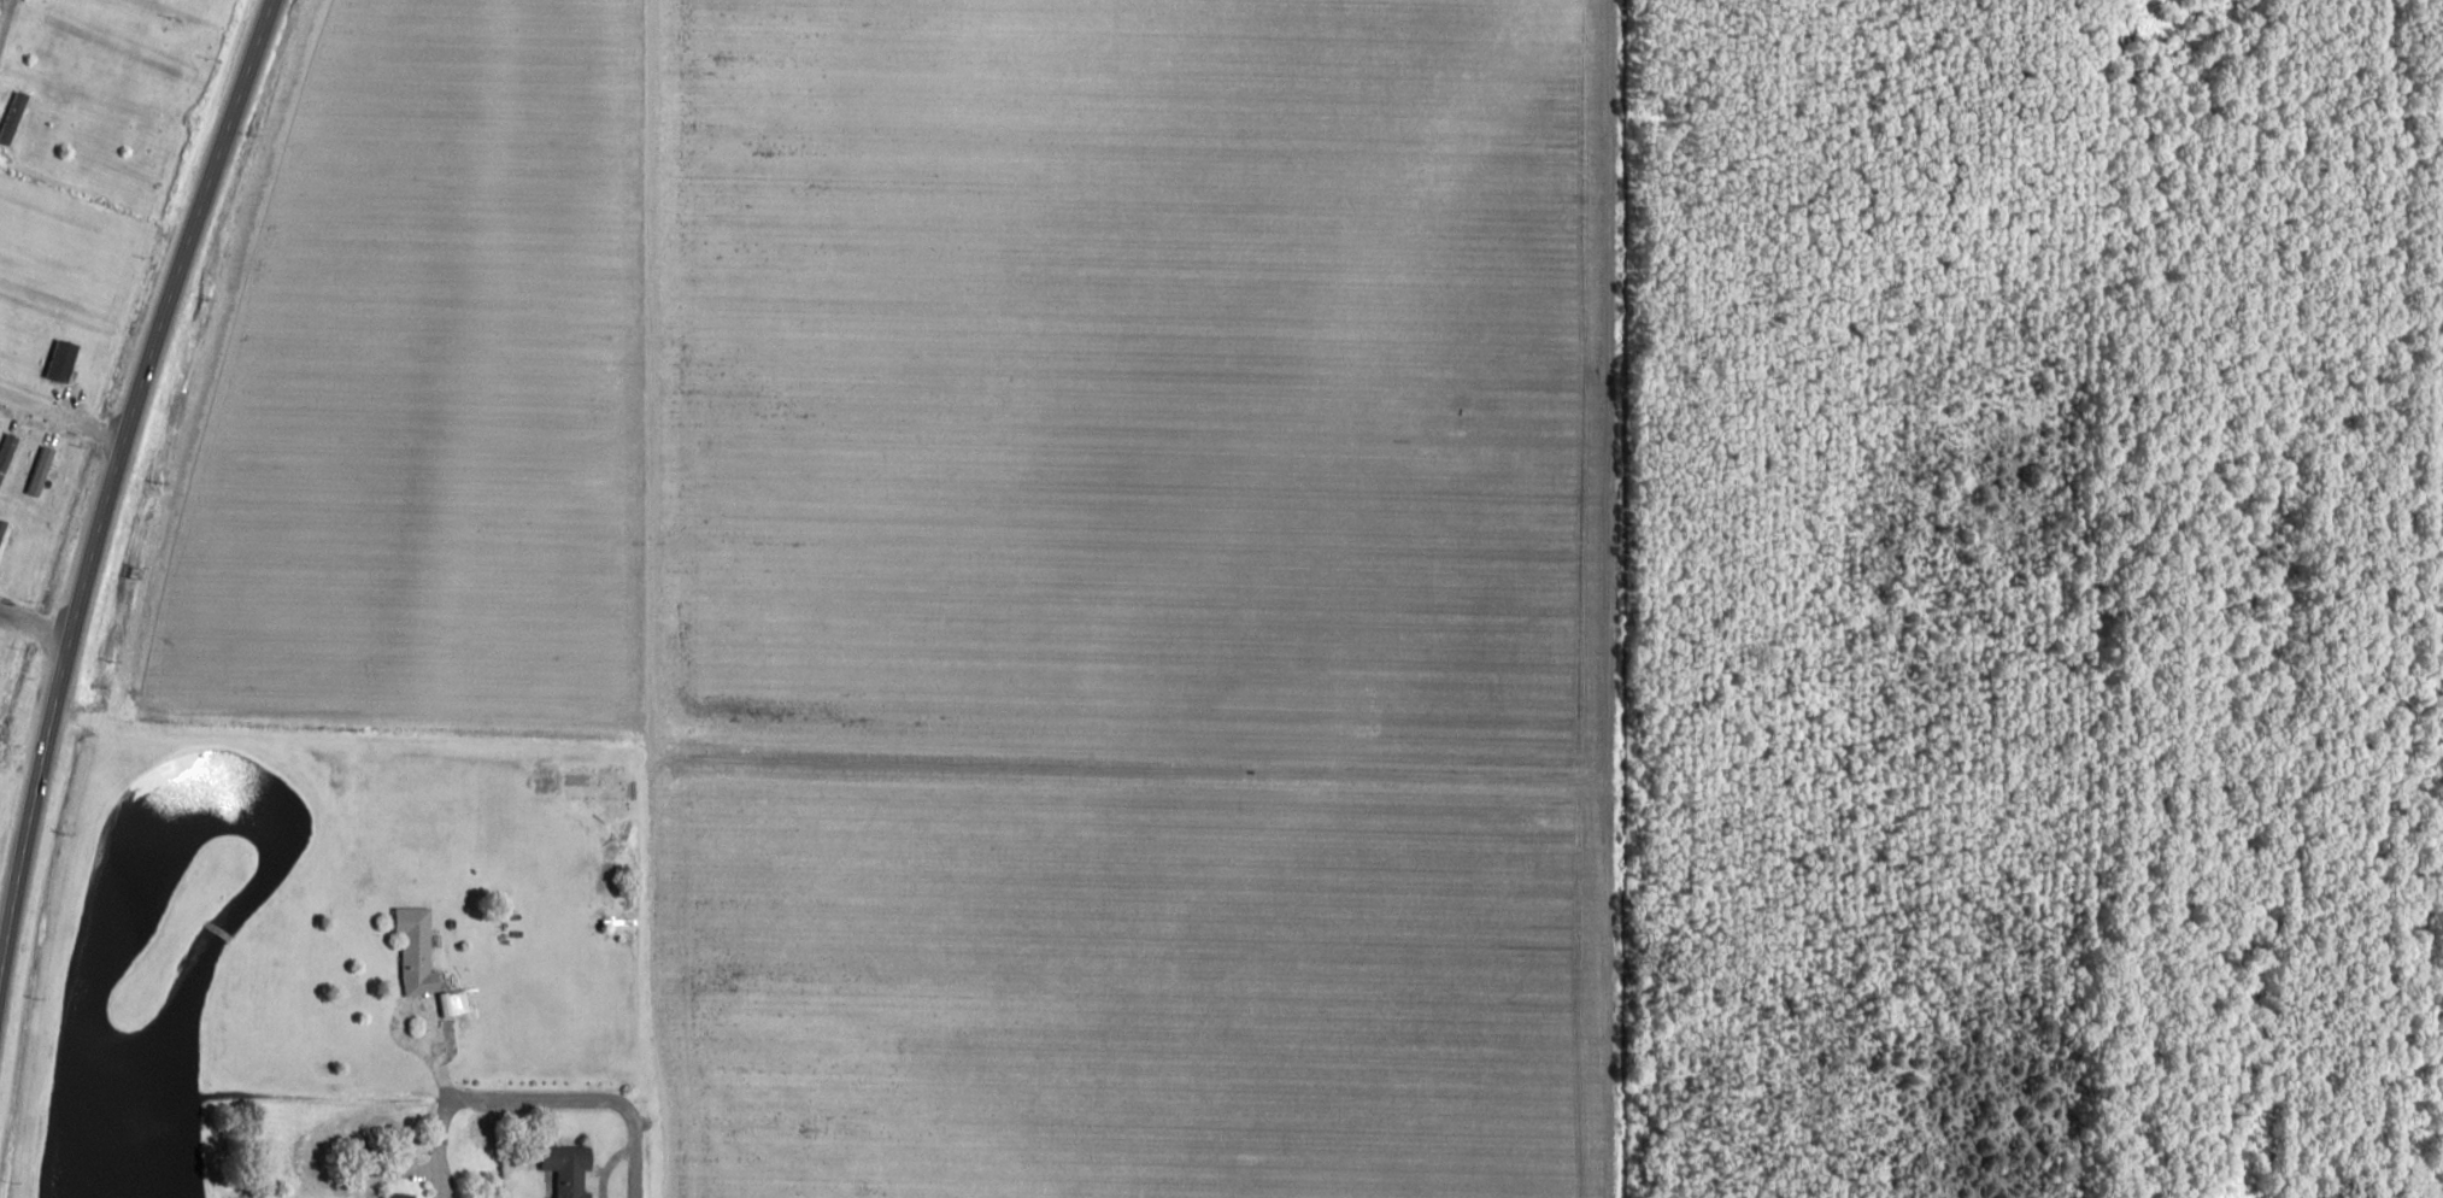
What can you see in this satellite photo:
road: (1, 6)
road: (665, 61)
building: (14, 117)
building: (64, 360)
road: (60, 417)
building: (7, 453)
building: (41, 470)
road: (107, 482)
building: (4, 536)
road: (34, 621)
building: (418, 949)
road: (412, 1040)
road: (540, 1099)
road: (440, 1124)
road: (633, 1156)
building: (571, 1167)
road: (544, 1191)
building: (399, 1194)

